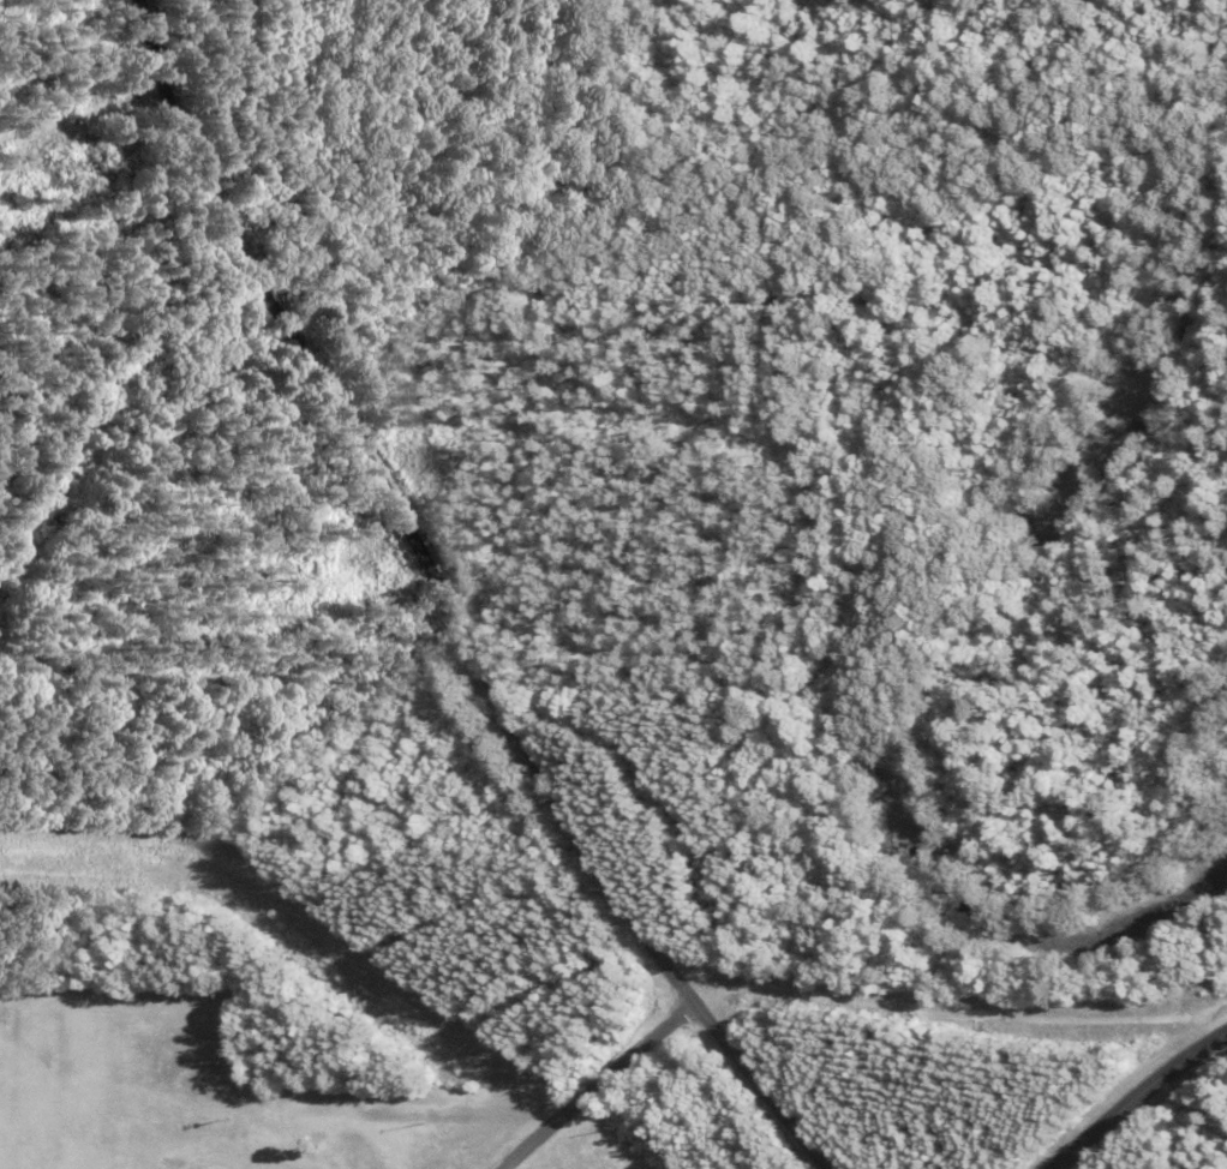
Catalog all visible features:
road: (397, 512)
road: (962, 1013)
road: (594, 1083)
road: (760, 1086)
road: (1133, 1093)

